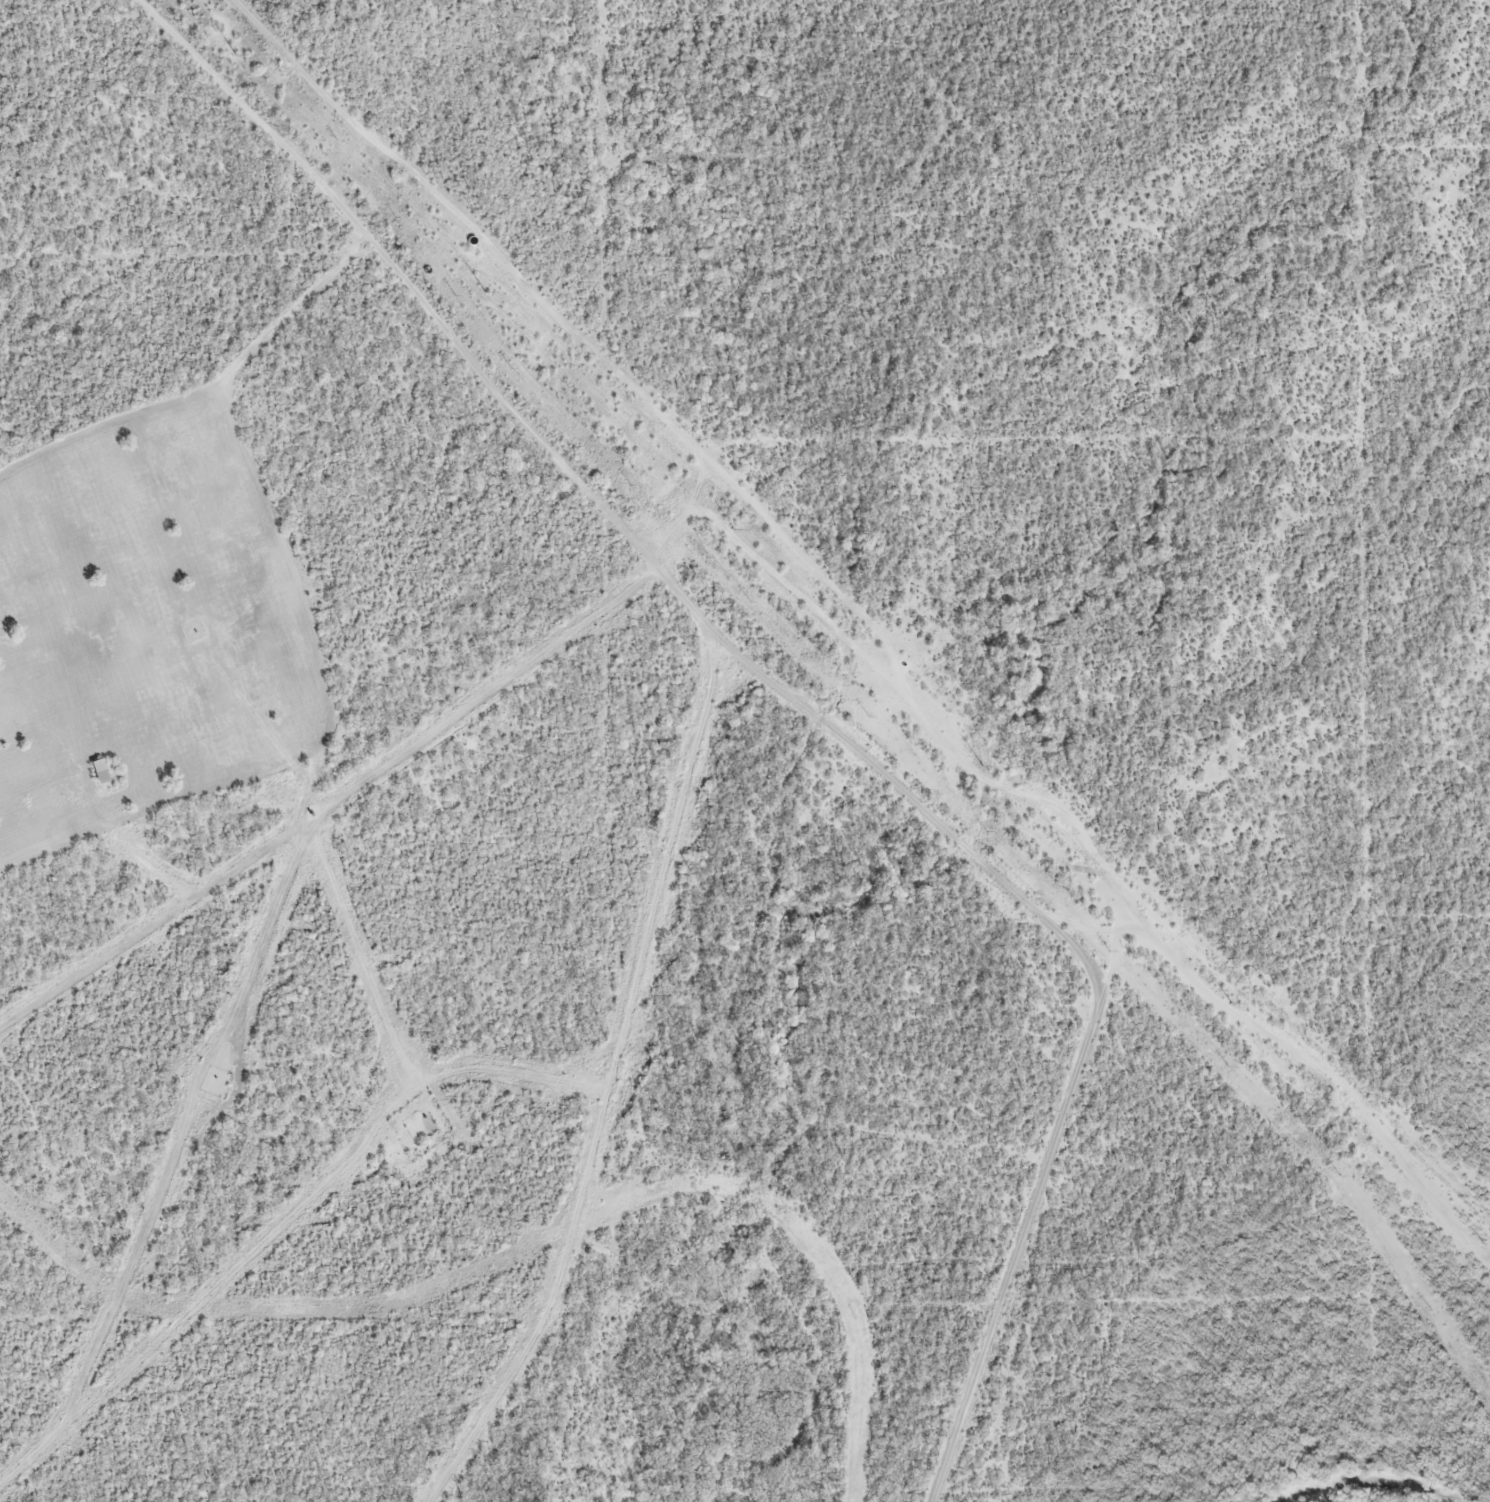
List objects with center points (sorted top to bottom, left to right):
power tower: (236, 56)
power tower: (485, 293)
power tower: (734, 531)
power tower: (982, 768)
building: (101, 772)
power tower: (1233, 1004)
power tower: (1483, 1244)

